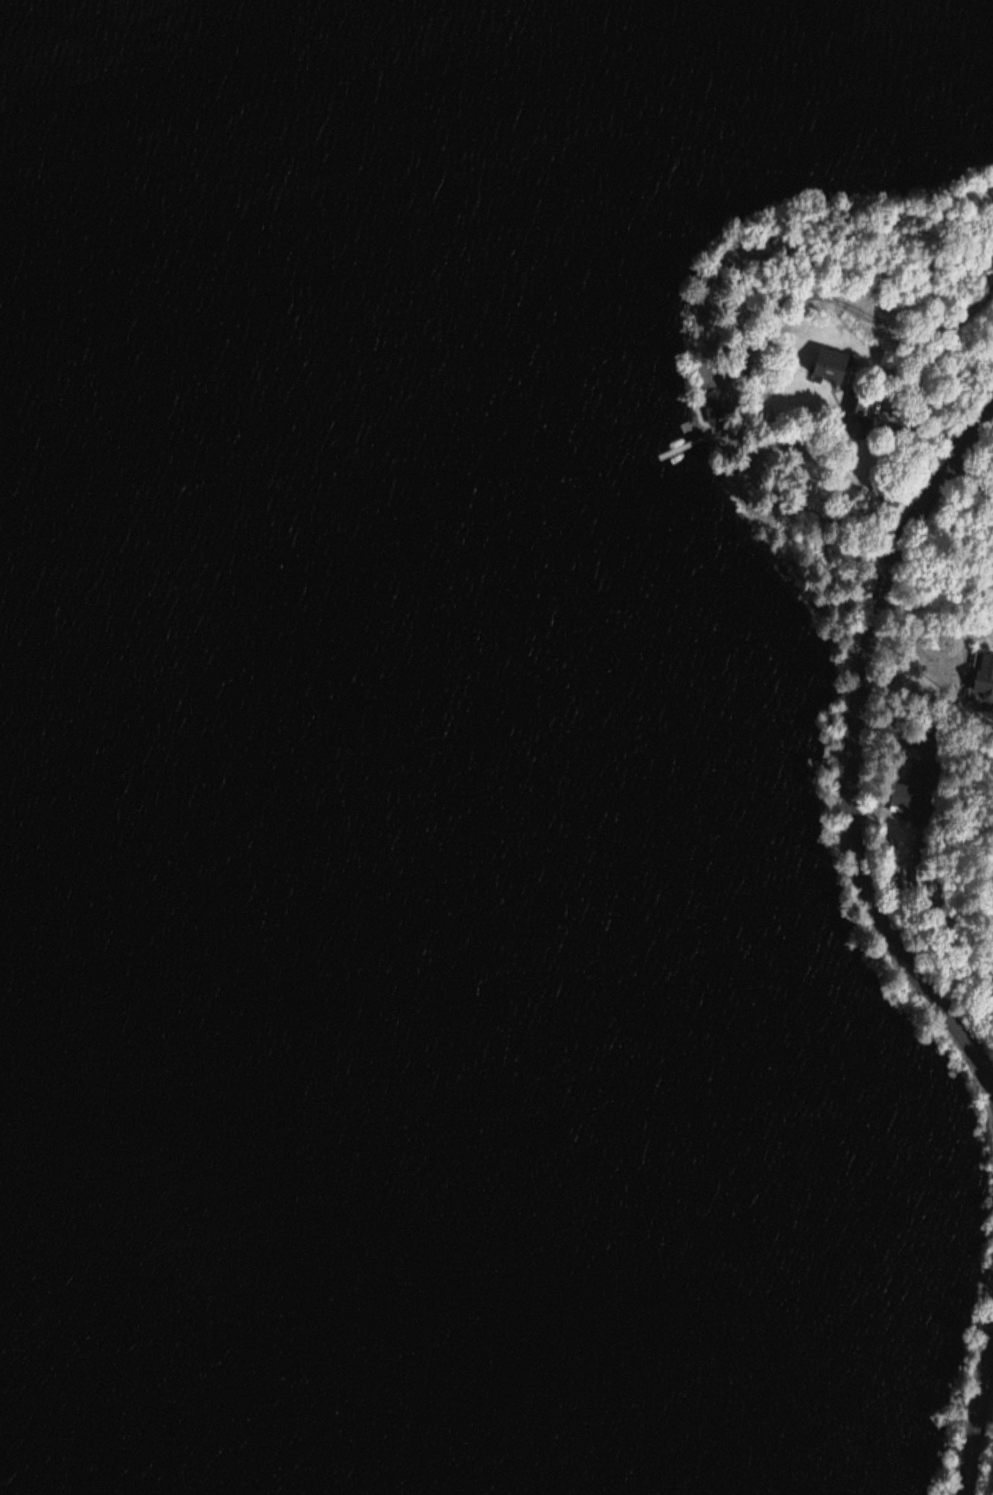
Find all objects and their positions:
building: (834, 364)
building: (985, 673)
road: (847, 746)
building: (908, 795)
road: (978, 1428)

